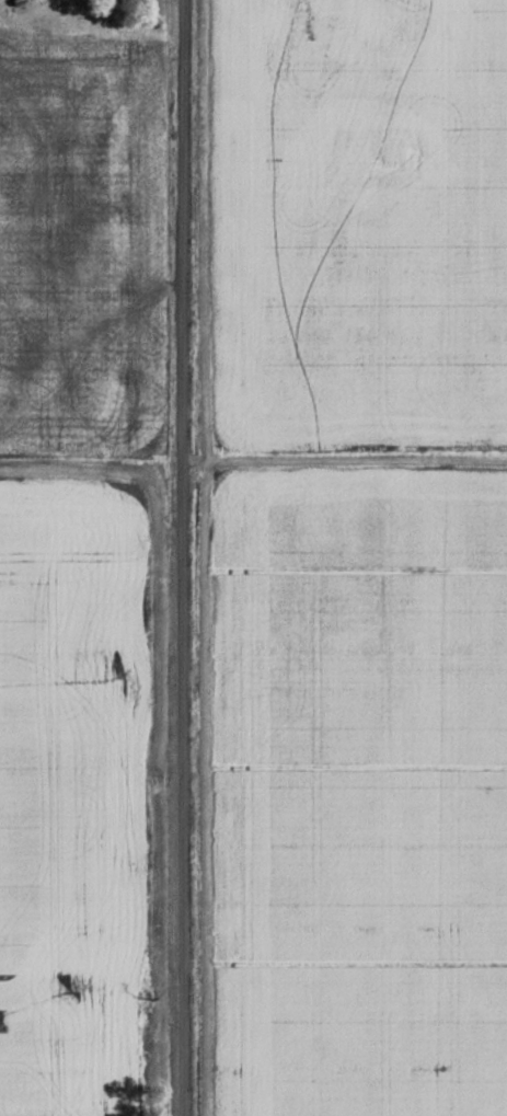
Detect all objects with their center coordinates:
building: (124, 1)
road: (181, 557)

